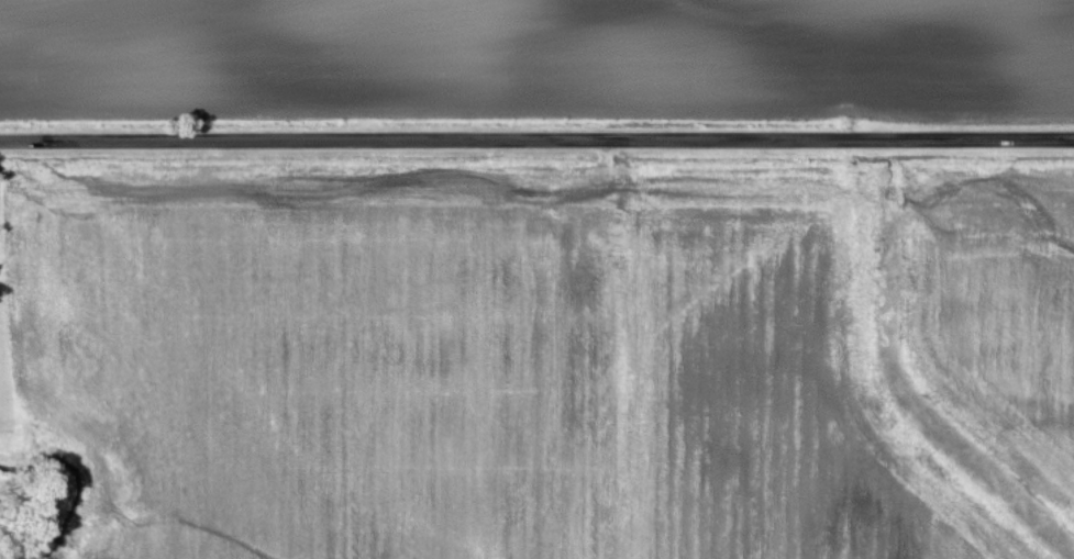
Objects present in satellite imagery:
road: (536, 139)

